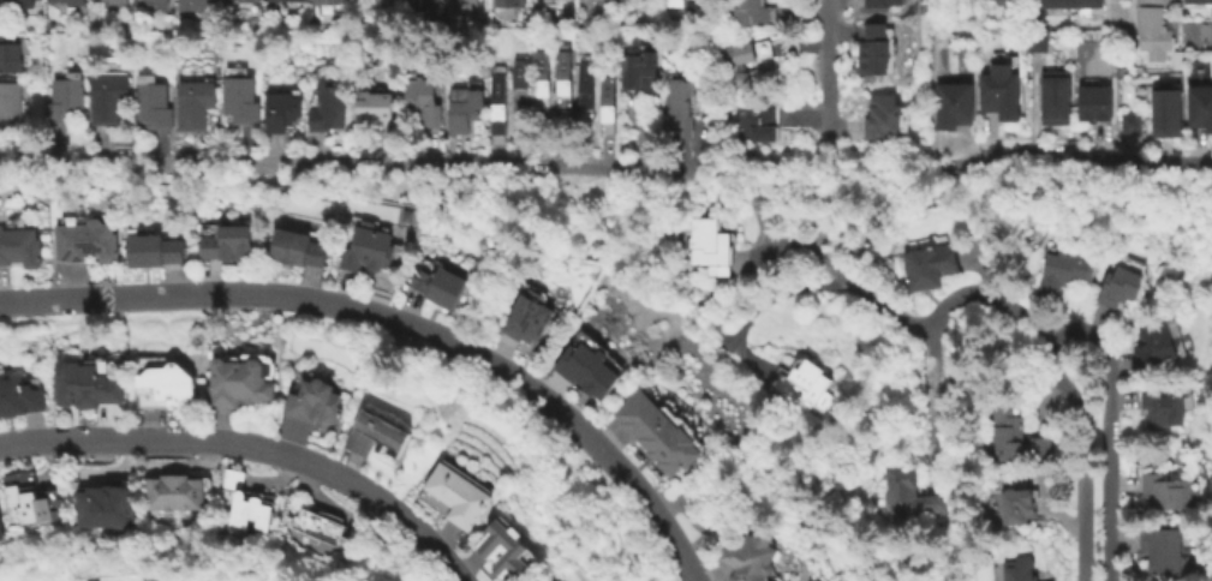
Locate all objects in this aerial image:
building: (247, 0)
building: (285, 0)
building: (605, 0)
building: (993, 0)
building: (113, 1)
building: (327, 1)
building: (1002, 1)
building: (70, 2)
building: (150, 2)
building: (511, 2)
building: (677, 2)
building: (18, 4)
building: (882, 4)
building: (1068, 4)
building: (1198, 4)
building: (191, 5)
building: (464, 5)
building: (424, 6)
building: (751, 12)
building: (1156, 30)
building: (1037, 41)
building: (874, 52)
building: (894, 52)
building: (740, 54)
building: (10, 56)
building: (238, 73)
building: (640, 74)
building: (566, 79)
building: (143, 80)
building: (744, 80)
building: (542, 83)
road: (820, 84)
building: (587, 94)
building: (519, 96)
building: (997, 96)
building: (1055, 96)
building: (106, 98)
building: (64, 101)
building: (238, 102)
building: (420, 102)
building: (608, 103)
building: (193, 106)
building: (151, 107)
building: (326, 107)
building: (370, 107)
building: (681, 107)
building: (11, 108)
building: (1091, 108)
building: (1165, 109)
building: (281, 110)
building: (949, 110)
building: (1199, 110)
building: (462, 112)
building: (500, 113)
building: (882, 116)
building: (760, 121)
building: (1130, 121)
road: (1071, 152)
road: (323, 163)
building: (86, 242)
building: (231, 244)
building: (717, 246)
building: (19, 247)
building: (371, 247)
building: (298, 248)
building: (156, 250)
building: (1130, 264)
building: (936, 265)
building: (1063, 272)
building: (1118, 286)
building: (444, 287)
building: (535, 316)
road: (395, 323)
road: (932, 324)
building: (1159, 343)
building: (593, 369)
building: (243, 382)
building: (82, 383)
building: (162, 383)
building: (808, 383)
building: (19, 399)
road: (927, 399)
building: (317, 401)
building: (1158, 407)
building: (663, 433)
road: (1110, 433)
building: (1017, 436)
building: (377, 437)
road: (251, 447)
road: (1085, 456)
building: (911, 491)
building: (174, 492)
building: (1165, 492)
building: (459, 493)
building: (28, 501)
building: (1026, 502)
building: (245, 503)
building: (105, 504)
building: (317, 527)
building: (1, 533)
building: (509, 549)
building: (1162, 550)
building: (756, 555)
building: (1026, 568)

